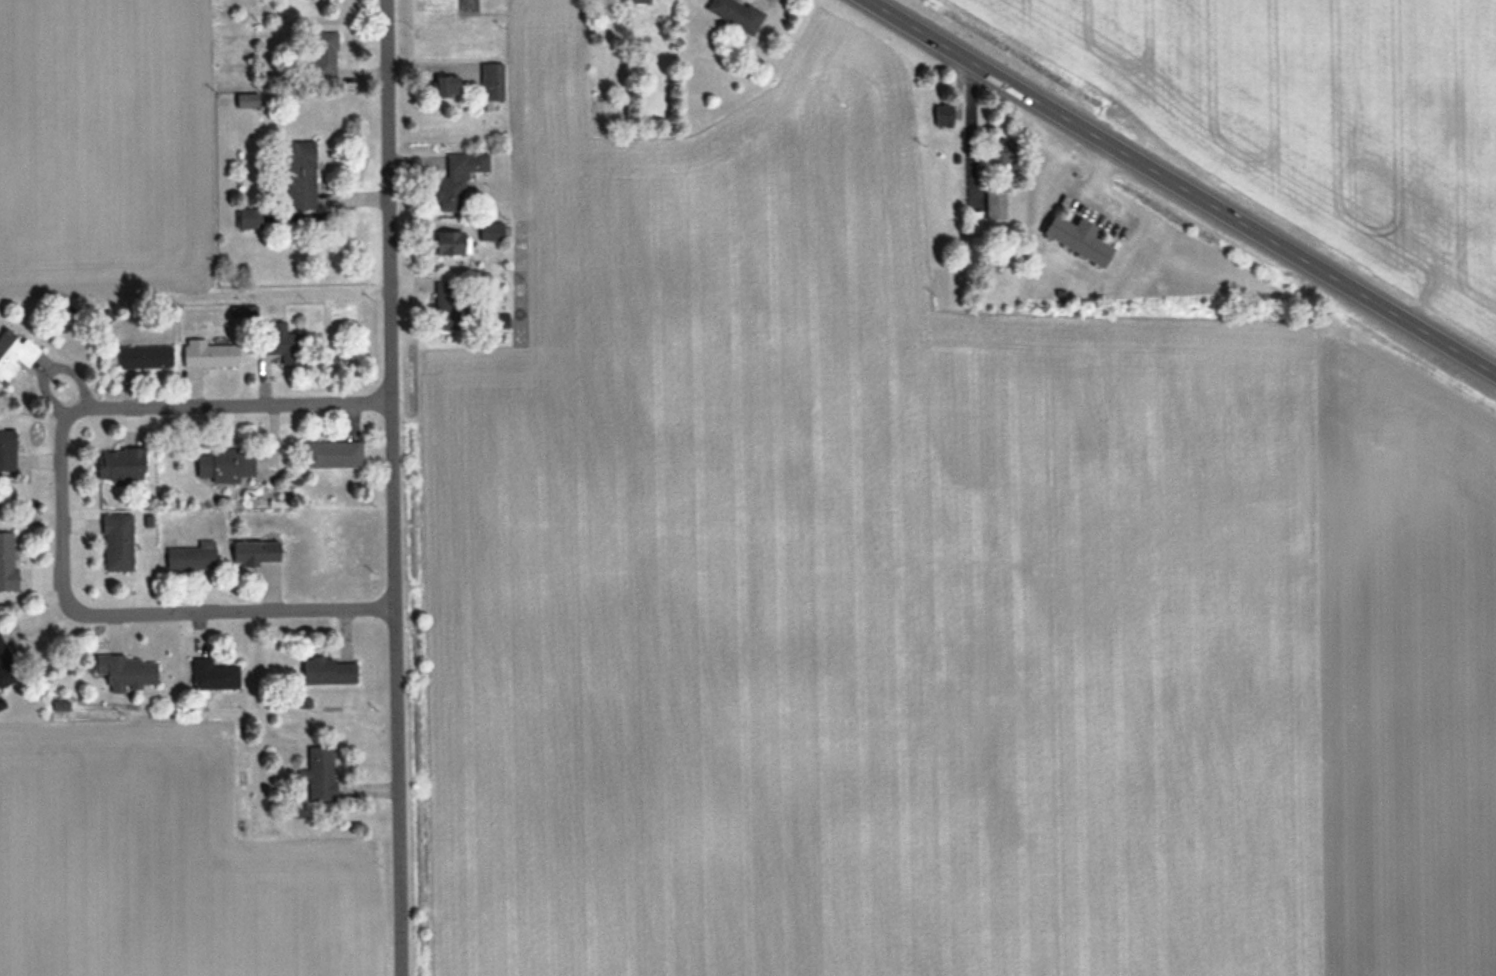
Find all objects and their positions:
building: (640, 1)
building: (736, 14)
building: (324, 53)
building: (492, 81)
building: (447, 85)
building: (247, 99)
building: (944, 116)
building: (1001, 153)
building: (300, 175)
building: (459, 179)
road: (1182, 186)
building: (995, 199)
building: (247, 217)
building: (491, 230)
building: (1077, 237)
building: (450, 241)
building: (448, 304)
building: (283, 343)
building: (209, 353)
building: (13, 354)
building: (145, 355)
building: (7, 452)
building: (331, 454)
building: (120, 463)
building: (226, 464)
road: (395, 488)
road: (63, 512)
building: (117, 541)
building: (256, 552)
building: (188, 558)
building: (7, 561)
building: (6, 666)
building: (126, 671)
building: (327, 671)
building: (213, 674)
building: (319, 773)

